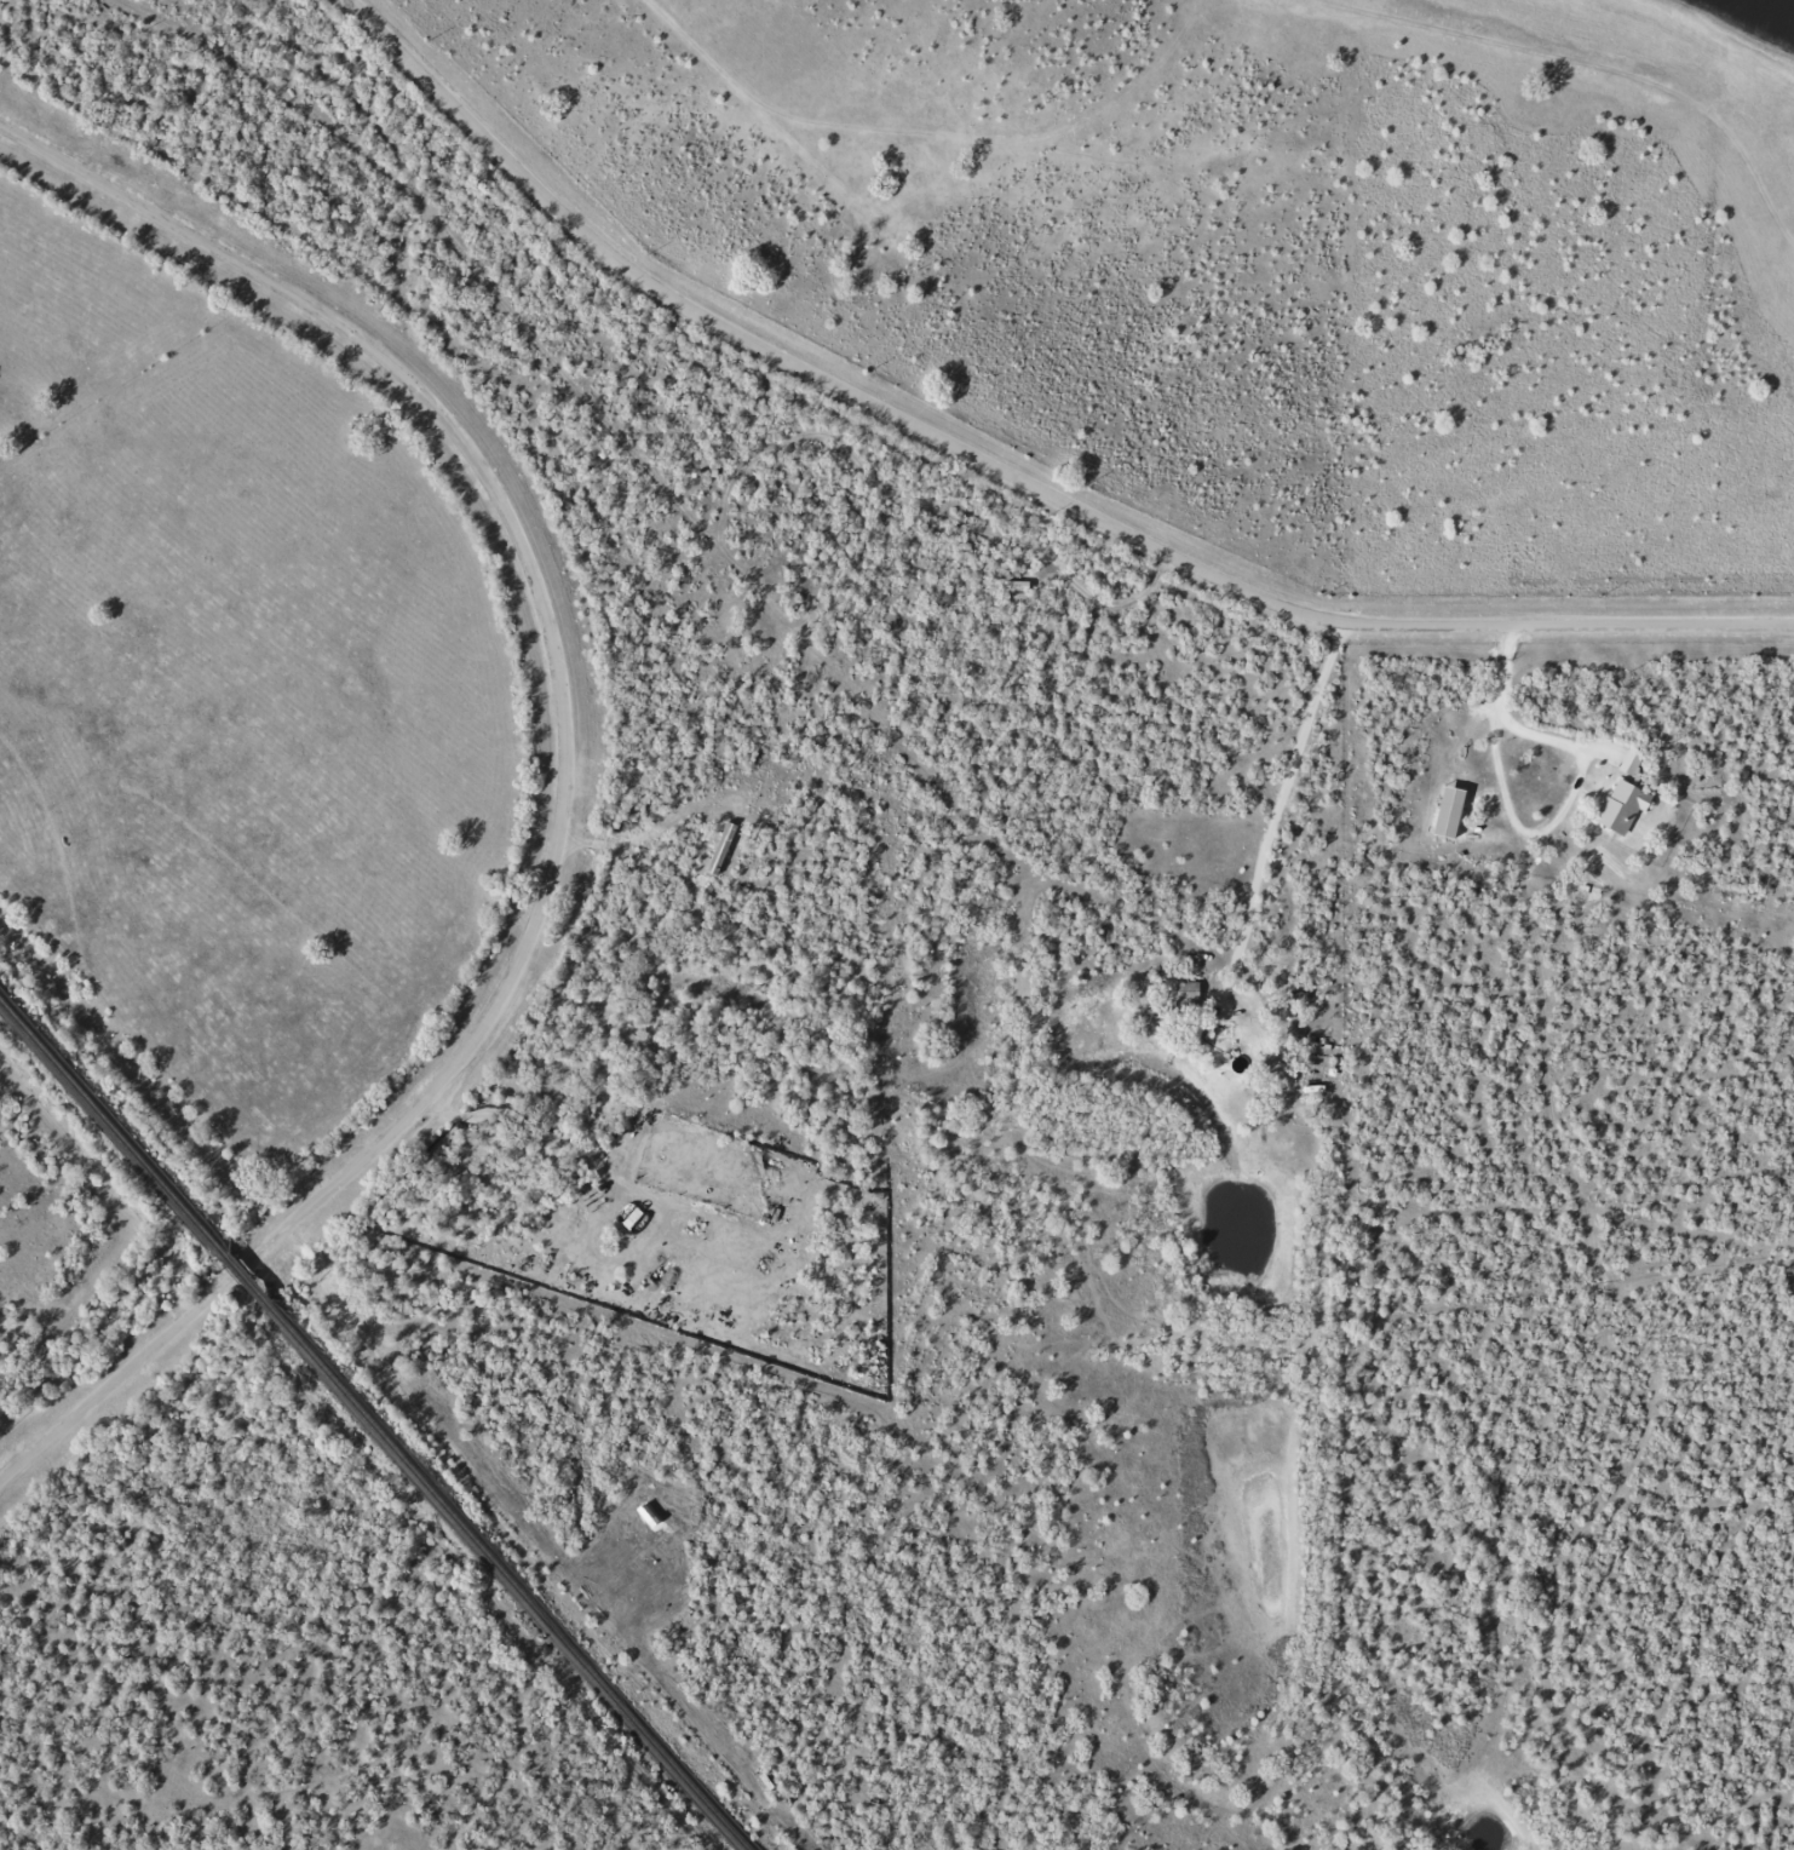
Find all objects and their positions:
dam: (1788, 249)
building: (881, 262)
road: (1007, 472)
road: (559, 672)
road: (1369, 740)
building: (1632, 762)
building: (1622, 804)
building: (1451, 811)
building: (1188, 994)
railway: (111, 1118)
railway: (249, 1279)
road: (82, 1409)
railway: (512, 1580)

